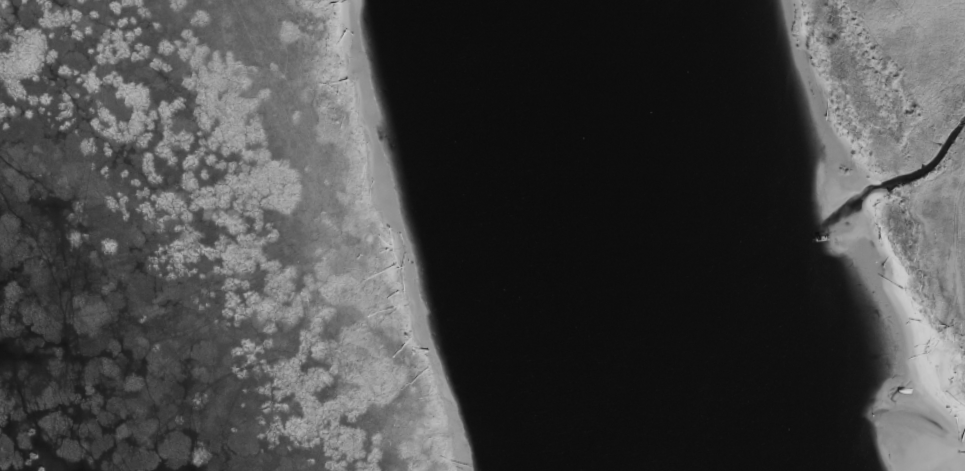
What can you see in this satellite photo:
river: (672, 236)

